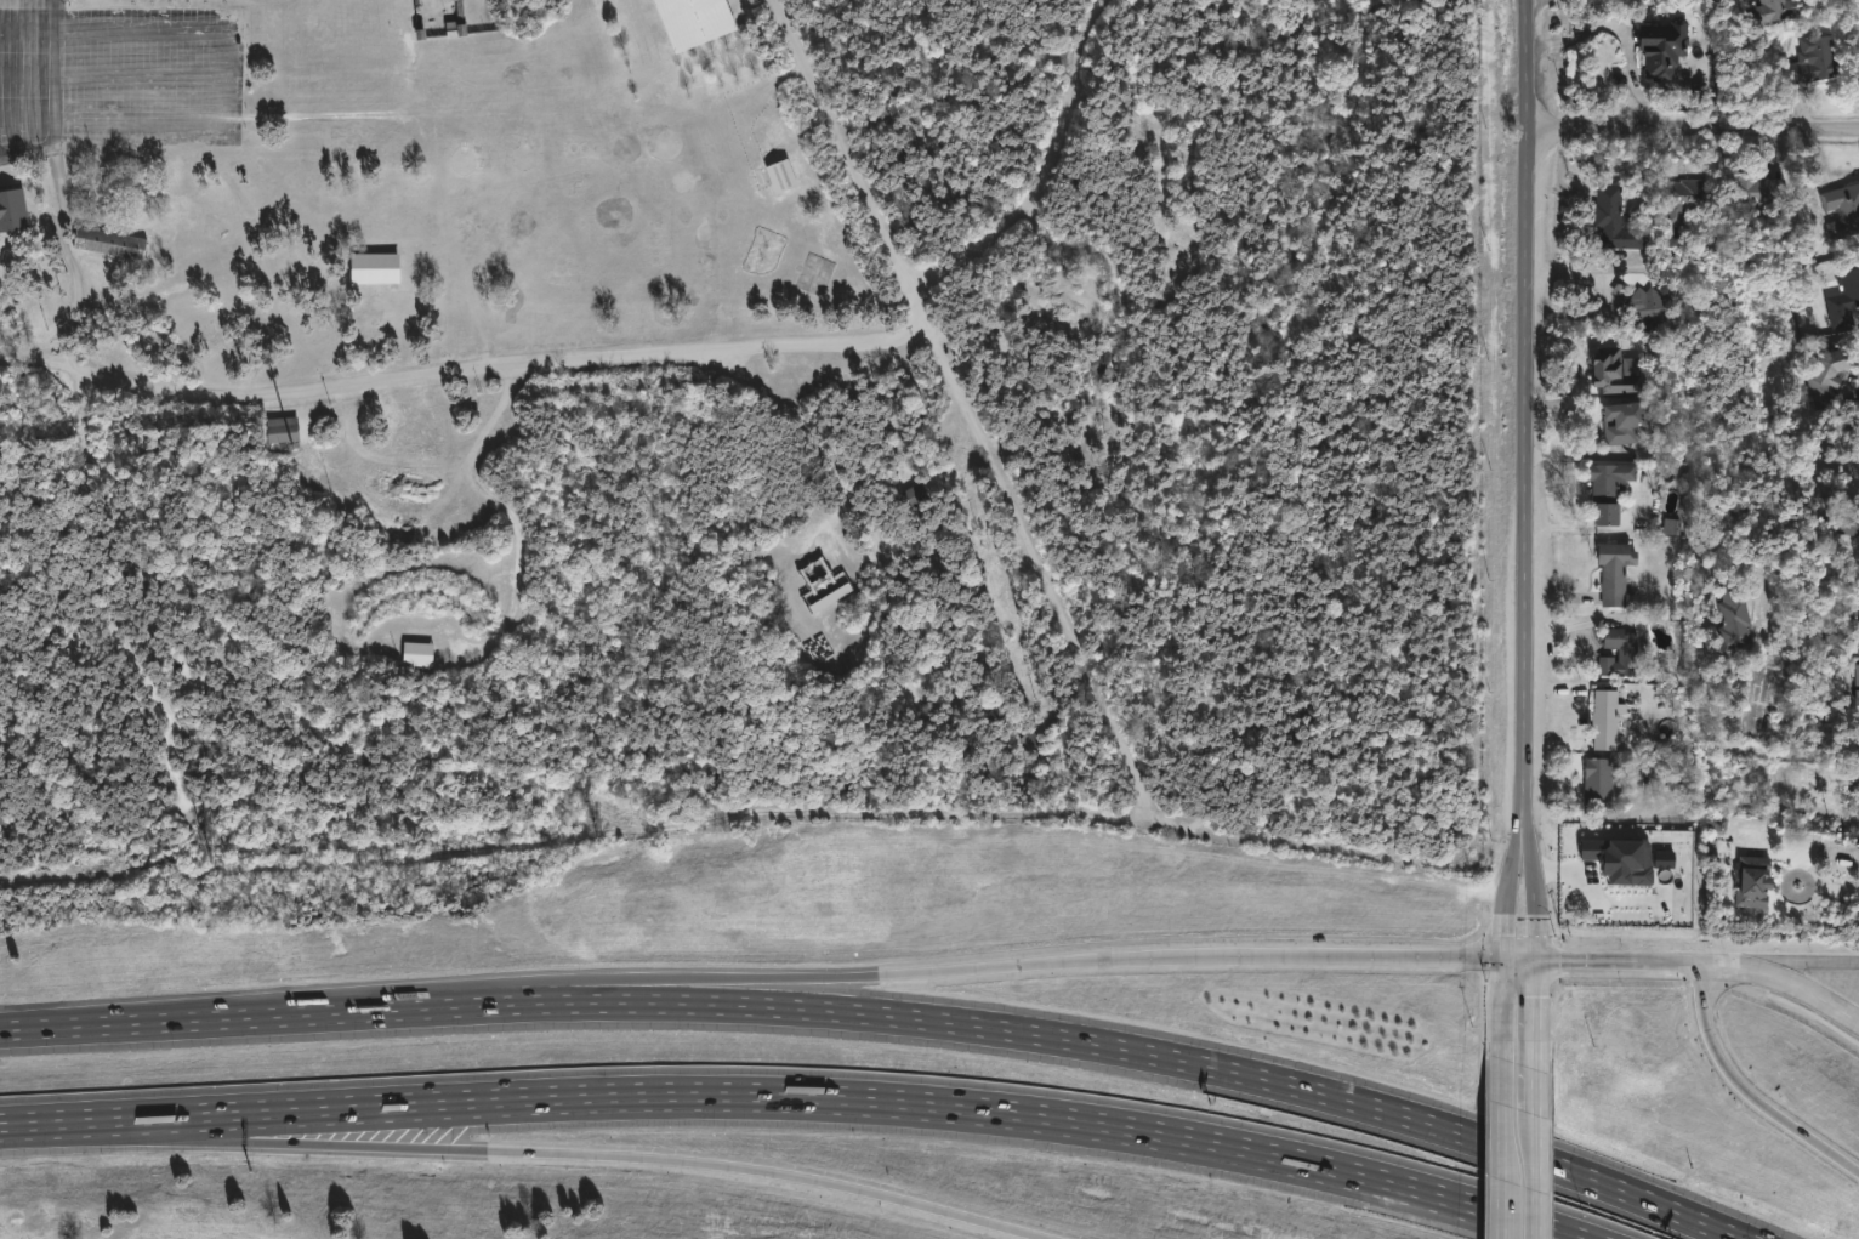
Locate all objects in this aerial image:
building: (1776, 10)
building: (455, 21)
building: (692, 21)
road: (1620, 33)
building: (1664, 49)
building: (1814, 62)
parking lot: (119, 75)
road: (140, 75)
road: (222, 75)
road: (57, 100)
building: (877, 115)
road: (1692, 130)
building: (1625, 161)
road: (1039, 169)
building: (781, 176)
building: (1762, 194)
building: (1685, 201)
building: (15, 210)
building: (1843, 211)
building: (1616, 220)
building: (113, 241)
road: (70, 255)
building: (377, 268)
building: (1846, 301)
building: (1639, 306)
road: (939, 353)
building: (1618, 373)
road: (462, 374)
building: (1827, 376)
road: (1524, 419)
building: (1625, 421)
building: (282, 430)
building: (1609, 489)
building: (915, 495)
road: (521, 519)
building: (1849, 519)
building: (1615, 570)
building: (829, 592)
road: (1819, 608)
building: (1735, 616)
building: (1620, 653)
building: (417, 658)
building: (1858, 683)
building: (1605, 720)
building: (1030, 743)
building: (1598, 782)
building: (1626, 856)
building: (1753, 881)
road: (1840, 888)
road: (1516, 898)
road: (1531, 902)
road: (1121, 959)
traffic signals: (1505, 961)
road: (1520, 961)
road: (1800, 962)
traffic signals: (1537, 965)
road: (1590, 965)
road: (1673, 966)
road: (1723, 967)
road: (1803, 988)
road: (391, 995)
road: (1505, 1010)
road: (1536, 1017)
road: (908, 1018)
road: (22, 1029)
road: (1535, 1089)
road: (1749, 1090)
road: (724, 1096)
road: (192, 1138)
road: (1503, 1150)
road: (723, 1165)
road: (1535, 1173)
road: (1506, 1218)

